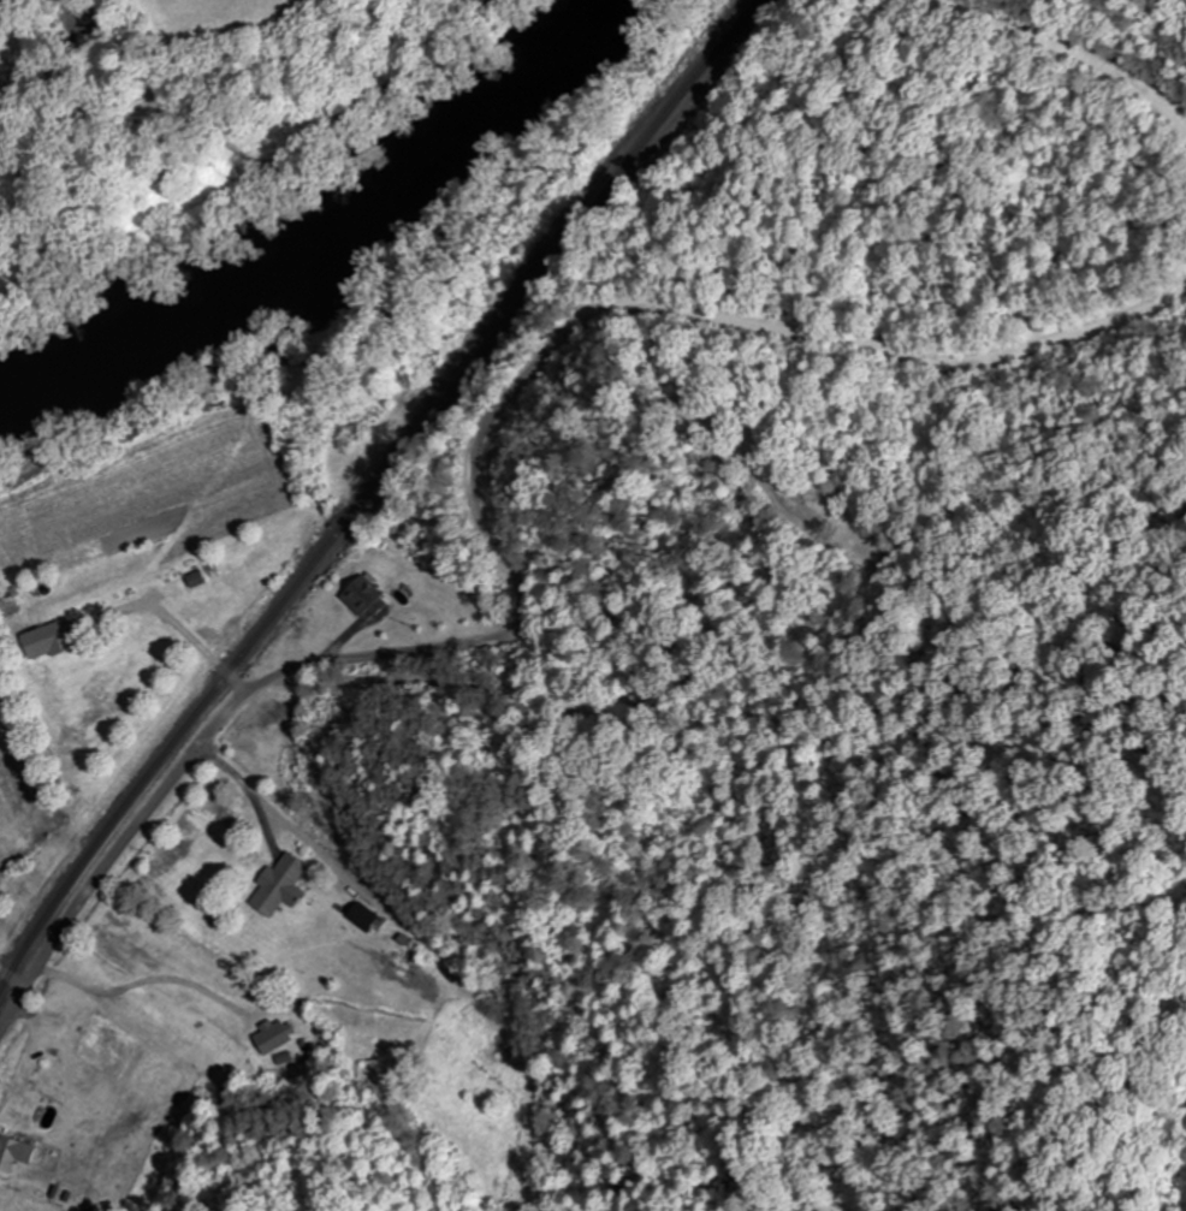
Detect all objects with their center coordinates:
road: (1090, 59)
river: (318, 232)
road: (594, 320)
road: (773, 396)
building: (357, 429)
railway: (373, 488)
building: (360, 598)
building: (7, 607)
road: (176, 623)
building: (46, 641)
road: (585, 670)
road: (132, 832)
building: (277, 885)
building: (357, 916)
road: (12, 978)
road: (12, 1008)
building: (269, 1038)
building: (373, 1076)
building: (6, 1153)

